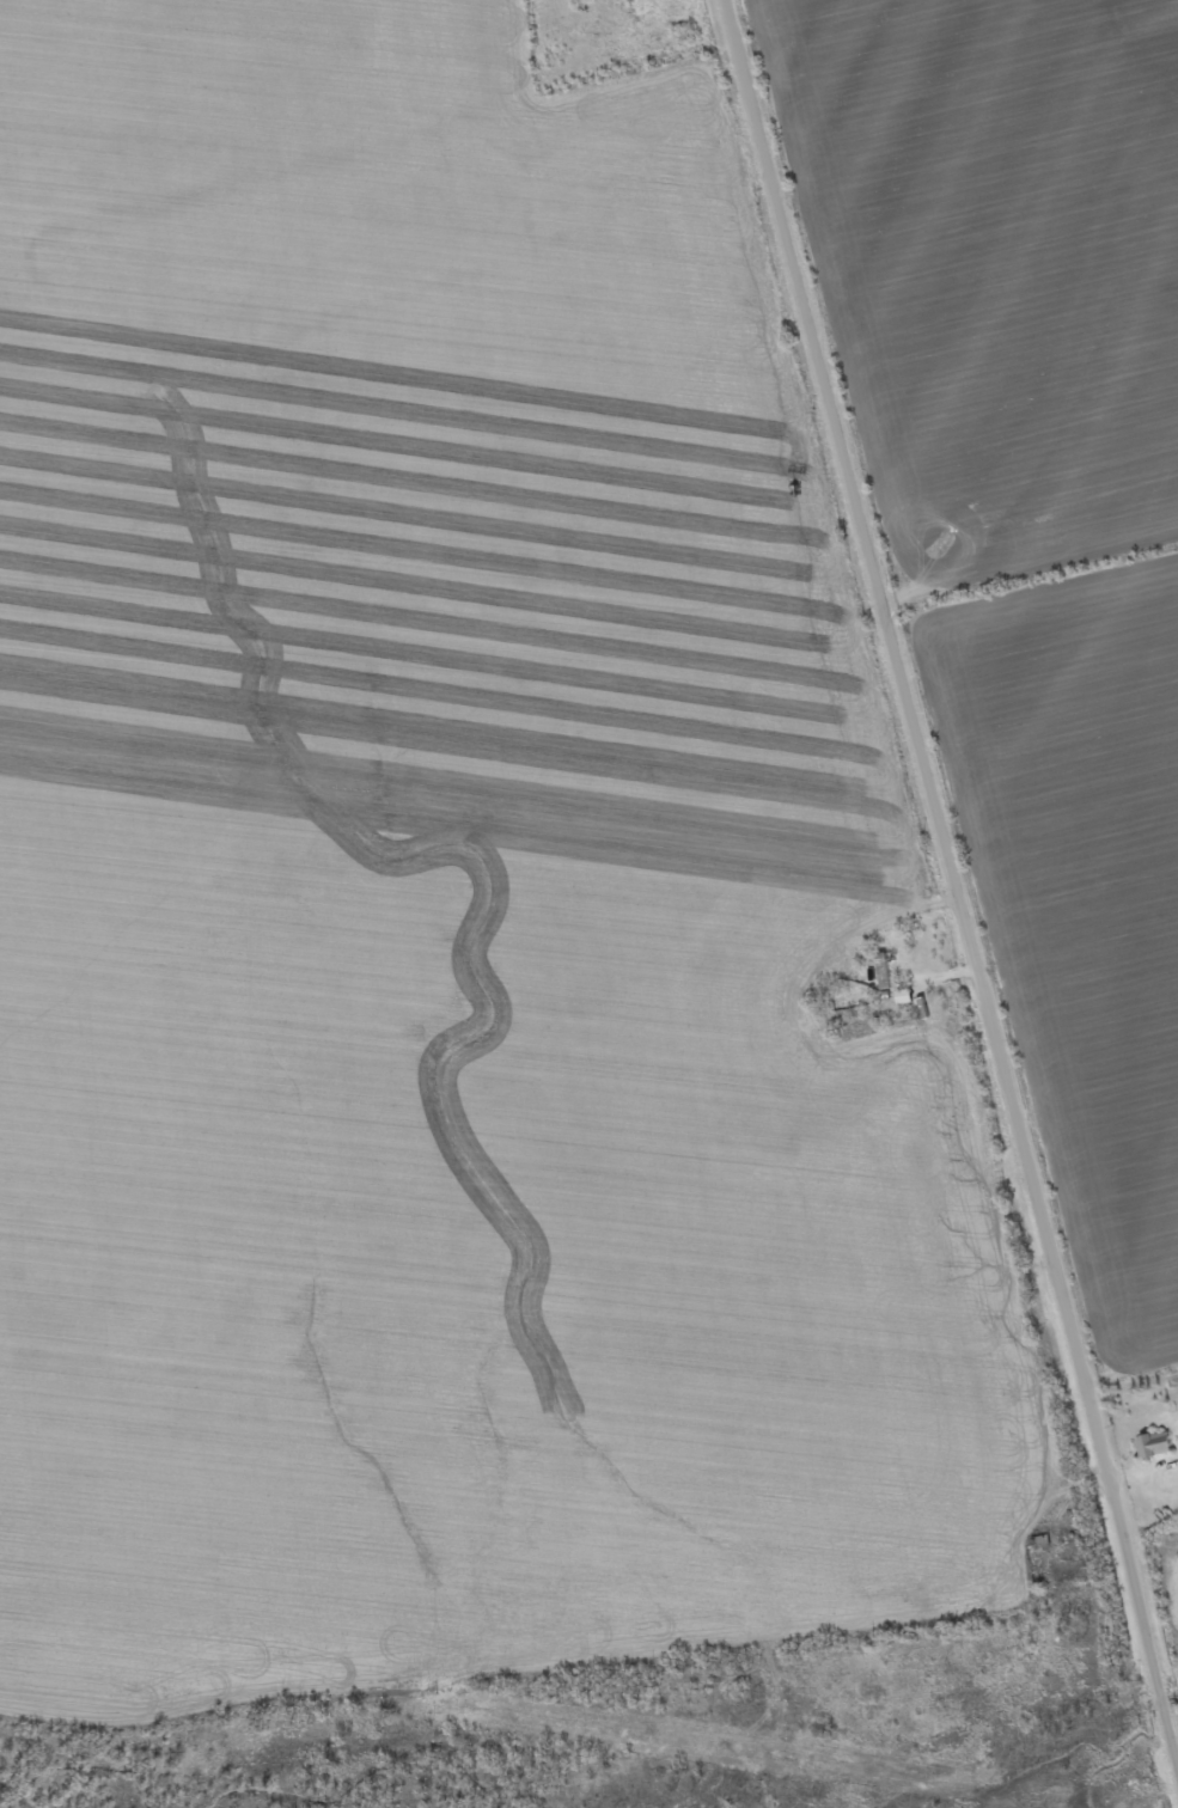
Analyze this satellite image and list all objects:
road: (947, 875)
building: (1152, 1453)

